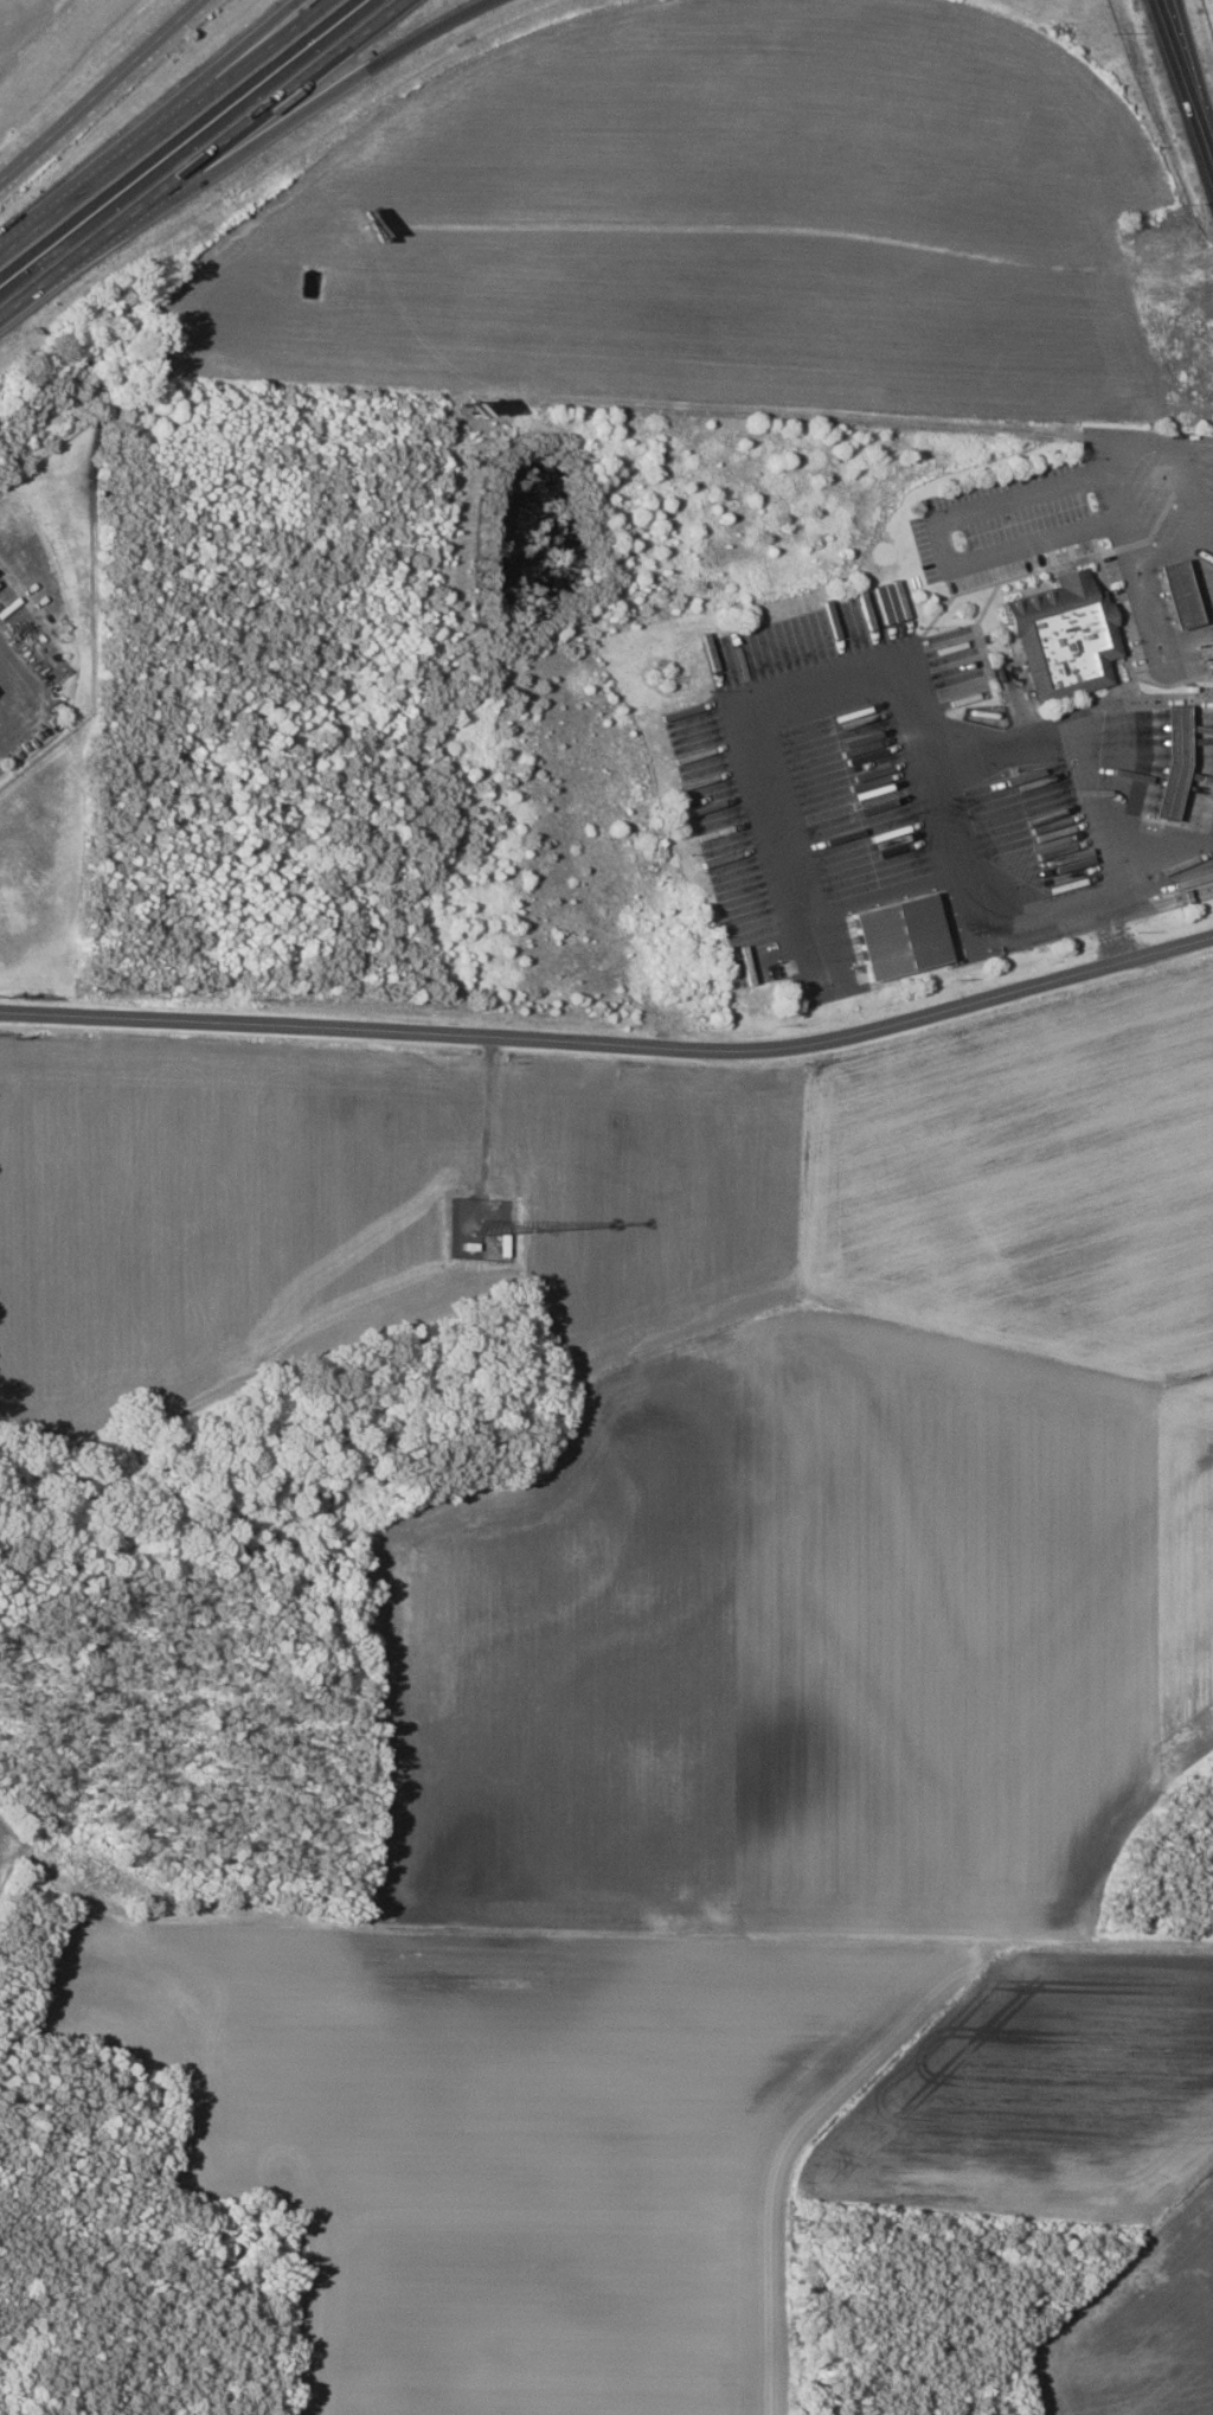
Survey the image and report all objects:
road: (1188, 78)
road: (104, 92)
road: (152, 126)
road: (168, 132)
road: (280, 132)
road: (204, 160)
building: (1173, 595)
road: (1211, 600)
building: (1063, 638)
road: (11, 707)
gas station: (1168, 763)
building: (1167, 777)
road: (1116, 885)
building: (896, 937)
road: (612, 1039)

